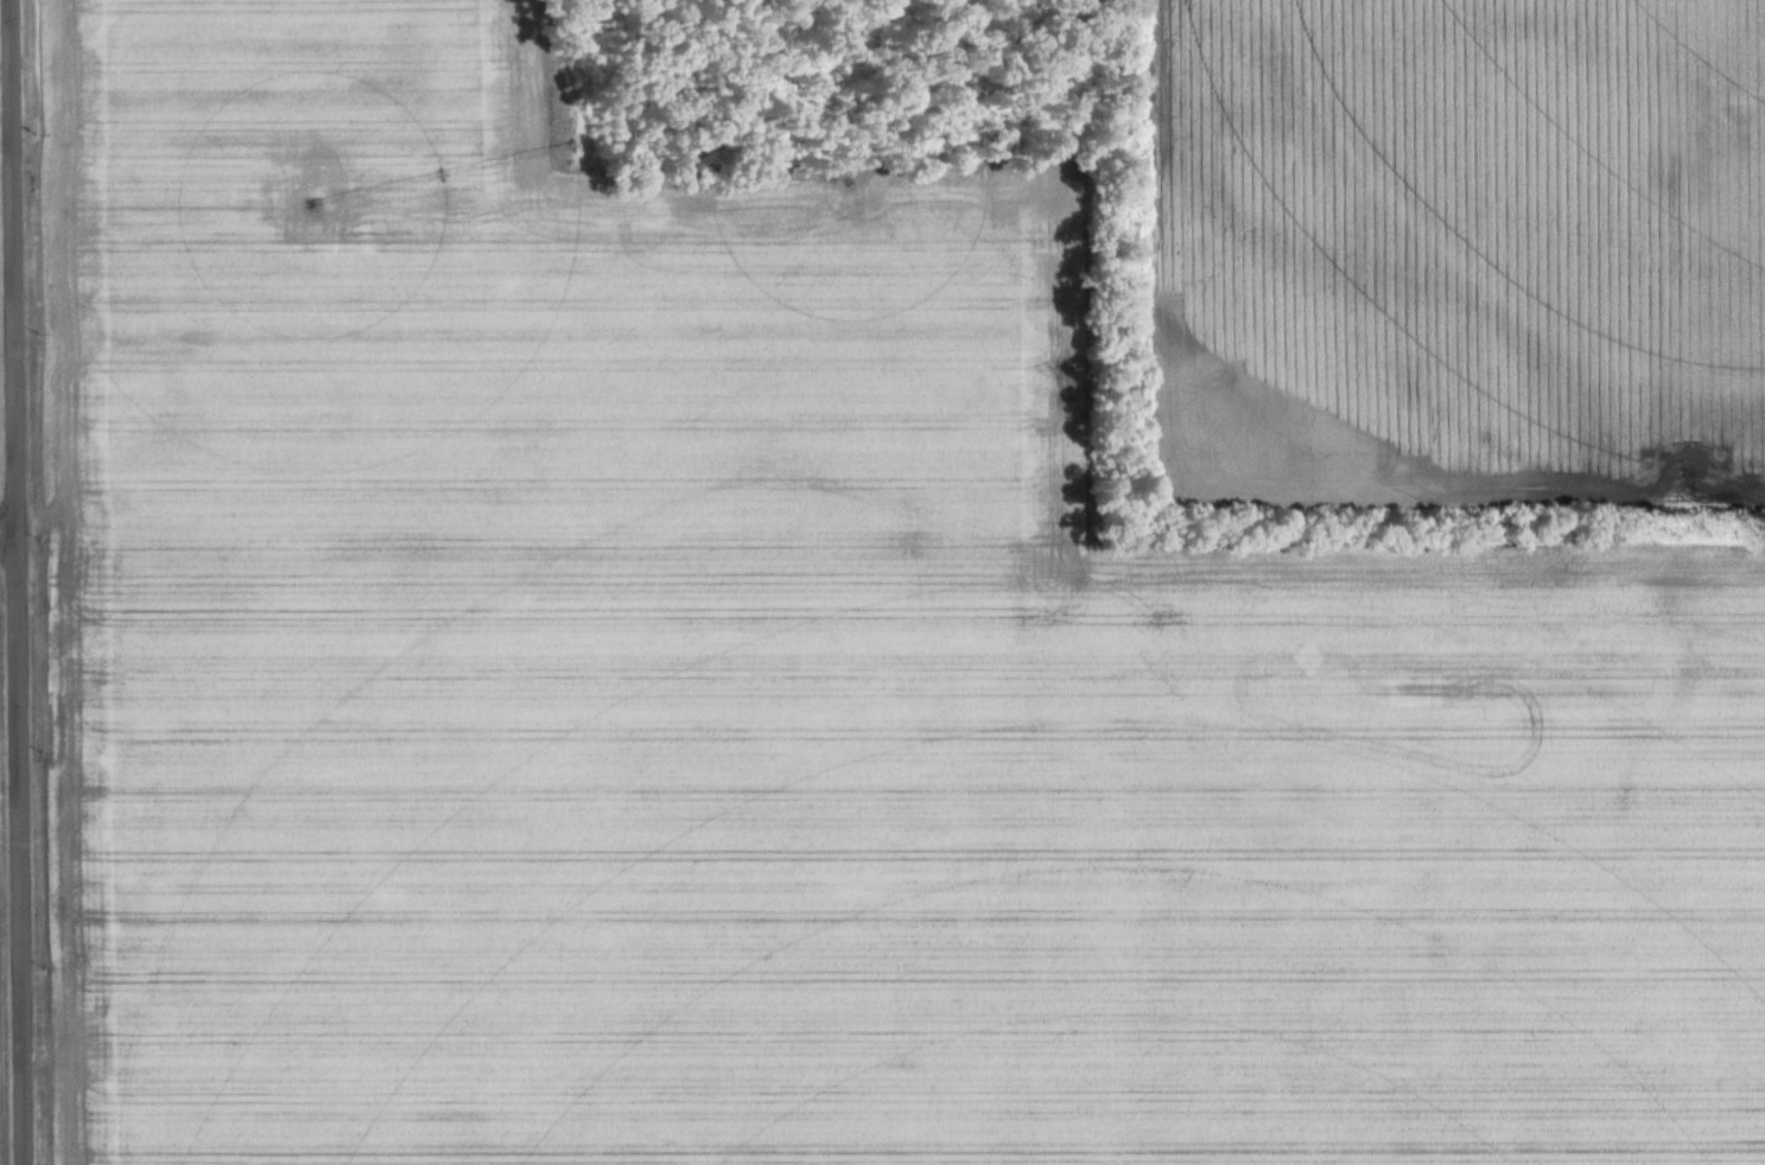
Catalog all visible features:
road: (5, 541)
road: (9, 582)
crop: (801, 695)

